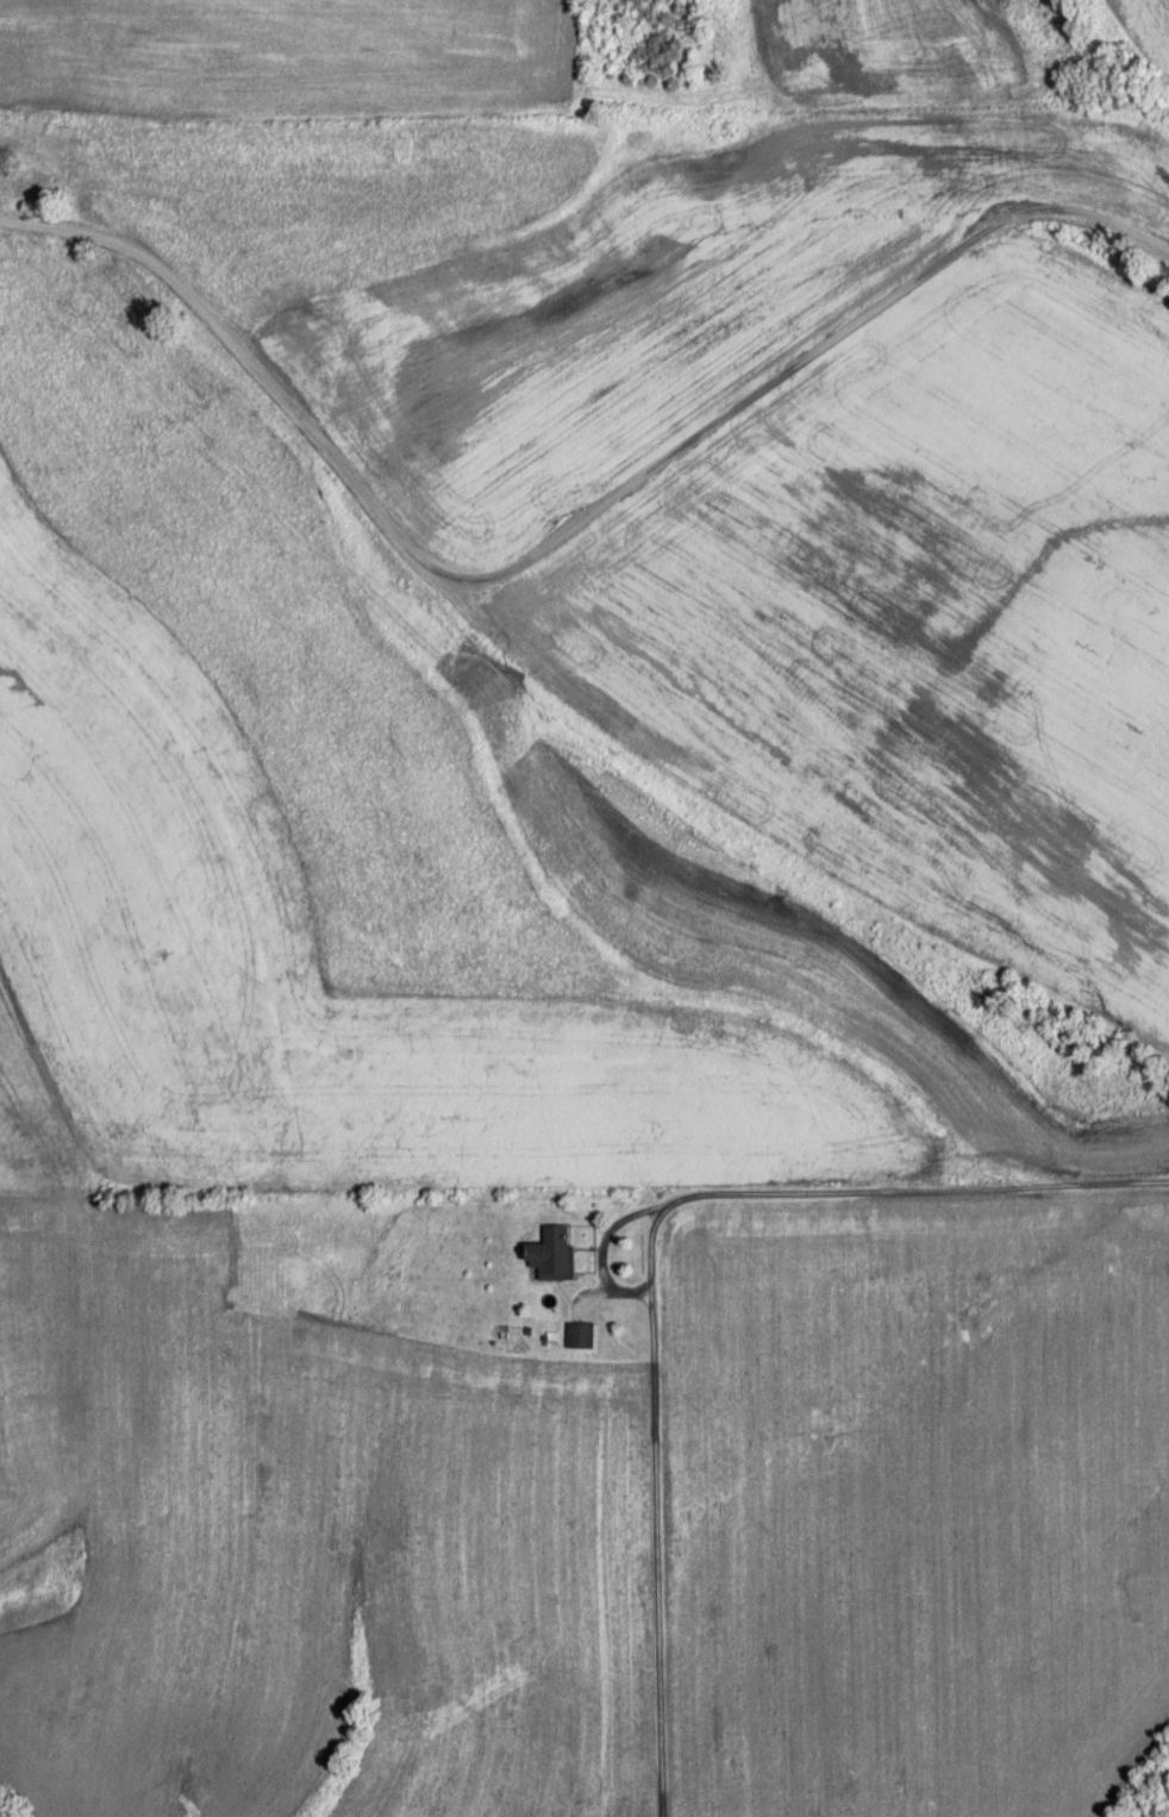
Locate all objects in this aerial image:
road: (505, 522)
road: (868, 1172)
building: (551, 1254)
building: (580, 1340)
road: (648, 1494)

